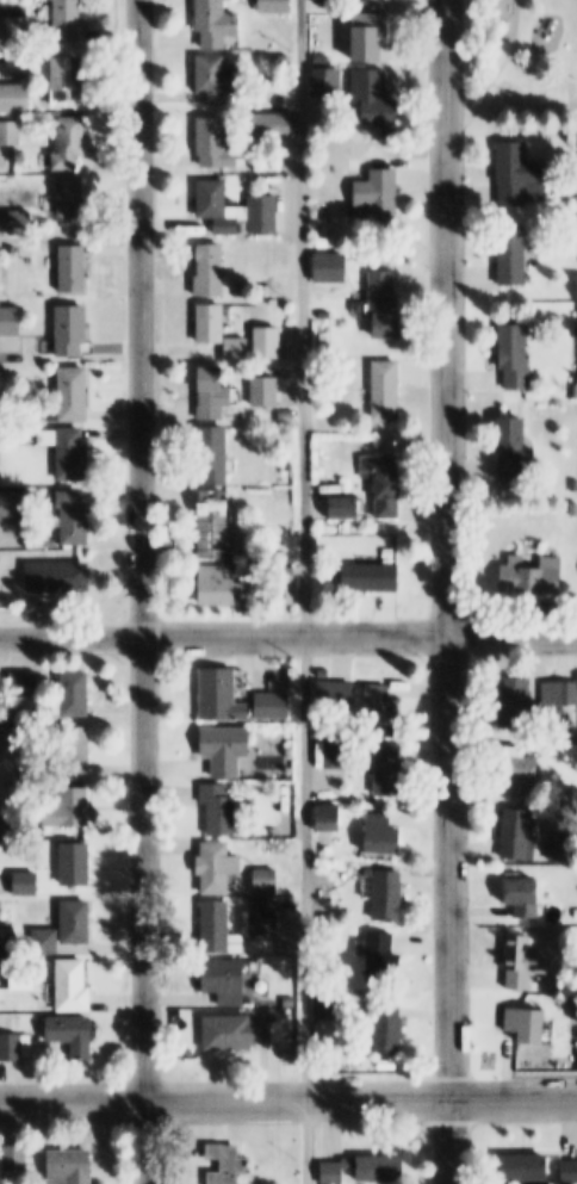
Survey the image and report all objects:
building: (278, 6)
building: (72, 20)
building: (219, 23)
building: (21, 29)
building: (371, 35)
building: (281, 58)
building: (6, 63)
park: (521, 69)
road: (495, 75)
building: (70, 78)
building: (218, 79)
building: (330, 81)
park: (572, 94)
building: (377, 95)
building: (17, 97)
building: (275, 125)
building: (11, 132)
building: (74, 142)
building: (218, 143)
building: (522, 175)
building: (74, 197)
building: (381, 197)
building: (218, 206)
building: (265, 215)
building: (333, 228)
building: (324, 243)
building: (515, 255)
building: (334, 268)
building: (75, 271)
building: (213, 272)
building: (240, 293)
building: (275, 304)
building: (386, 306)
building: (324, 316)
building: (213, 326)
building: (74, 333)
building: (240, 349)
building: (516, 357)
building: (387, 392)
building: (74, 395)
building: (215, 396)
building: (286, 407)
building: (516, 451)
building: (216, 458)
building: (75, 461)
building: (386, 483)
building: (347, 509)
building: (75, 519)
building: (217, 526)
building: (0, 558)
building: (60, 577)
building: (374, 577)
building: (534, 577)
building: (222, 587)
road: (142, 591)
road: (306, 591)
road: (453, 591)
road: (288, 638)
building: (331, 677)
building: (21, 684)
building: (76, 694)
building: (223, 696)
building: (559, 696)
building: (520, 703)
building: (275, 707)
building: (383, 708)
building: (15, 740)
building: (80, 746)
building: (228, 750)
building: (391, 773)
building: (526, 774)
building: (223, 811)
building: (72, 812)
building: (330, 819)
building: (12, 826)
building: (386, 837)
building: (521, 837)
building: (564, 848)
building: (79, 864)
building: (221, 868)
building: (268, 881)
building: (27, 885)
building: (296, 893)
building: (389, 895)
building: (528, 899)
building: (262, 905)
building: (576, 916)
building: (79, 922)
building: (267, 925)
building: (222, 930)
building: (48, 941)
building: (389, 956)
building: (528, 963)
building: (25, 977)
building: (228, 980)
building: (73, 985)
building: (290, 1002)
building: (335, 1005)
building: (392, 1025)
building: (528, 1028)
building: (242, 1031)
building: (75, 1034)
building: (12, 1047)
building: (296, 1068)
road: (288, 1101)
building: (18, 1157)
building: (229, 1164)
building: (74, 1166)
building: (366, 1167)
building: (529, 1167)
building: (570, 1171)

